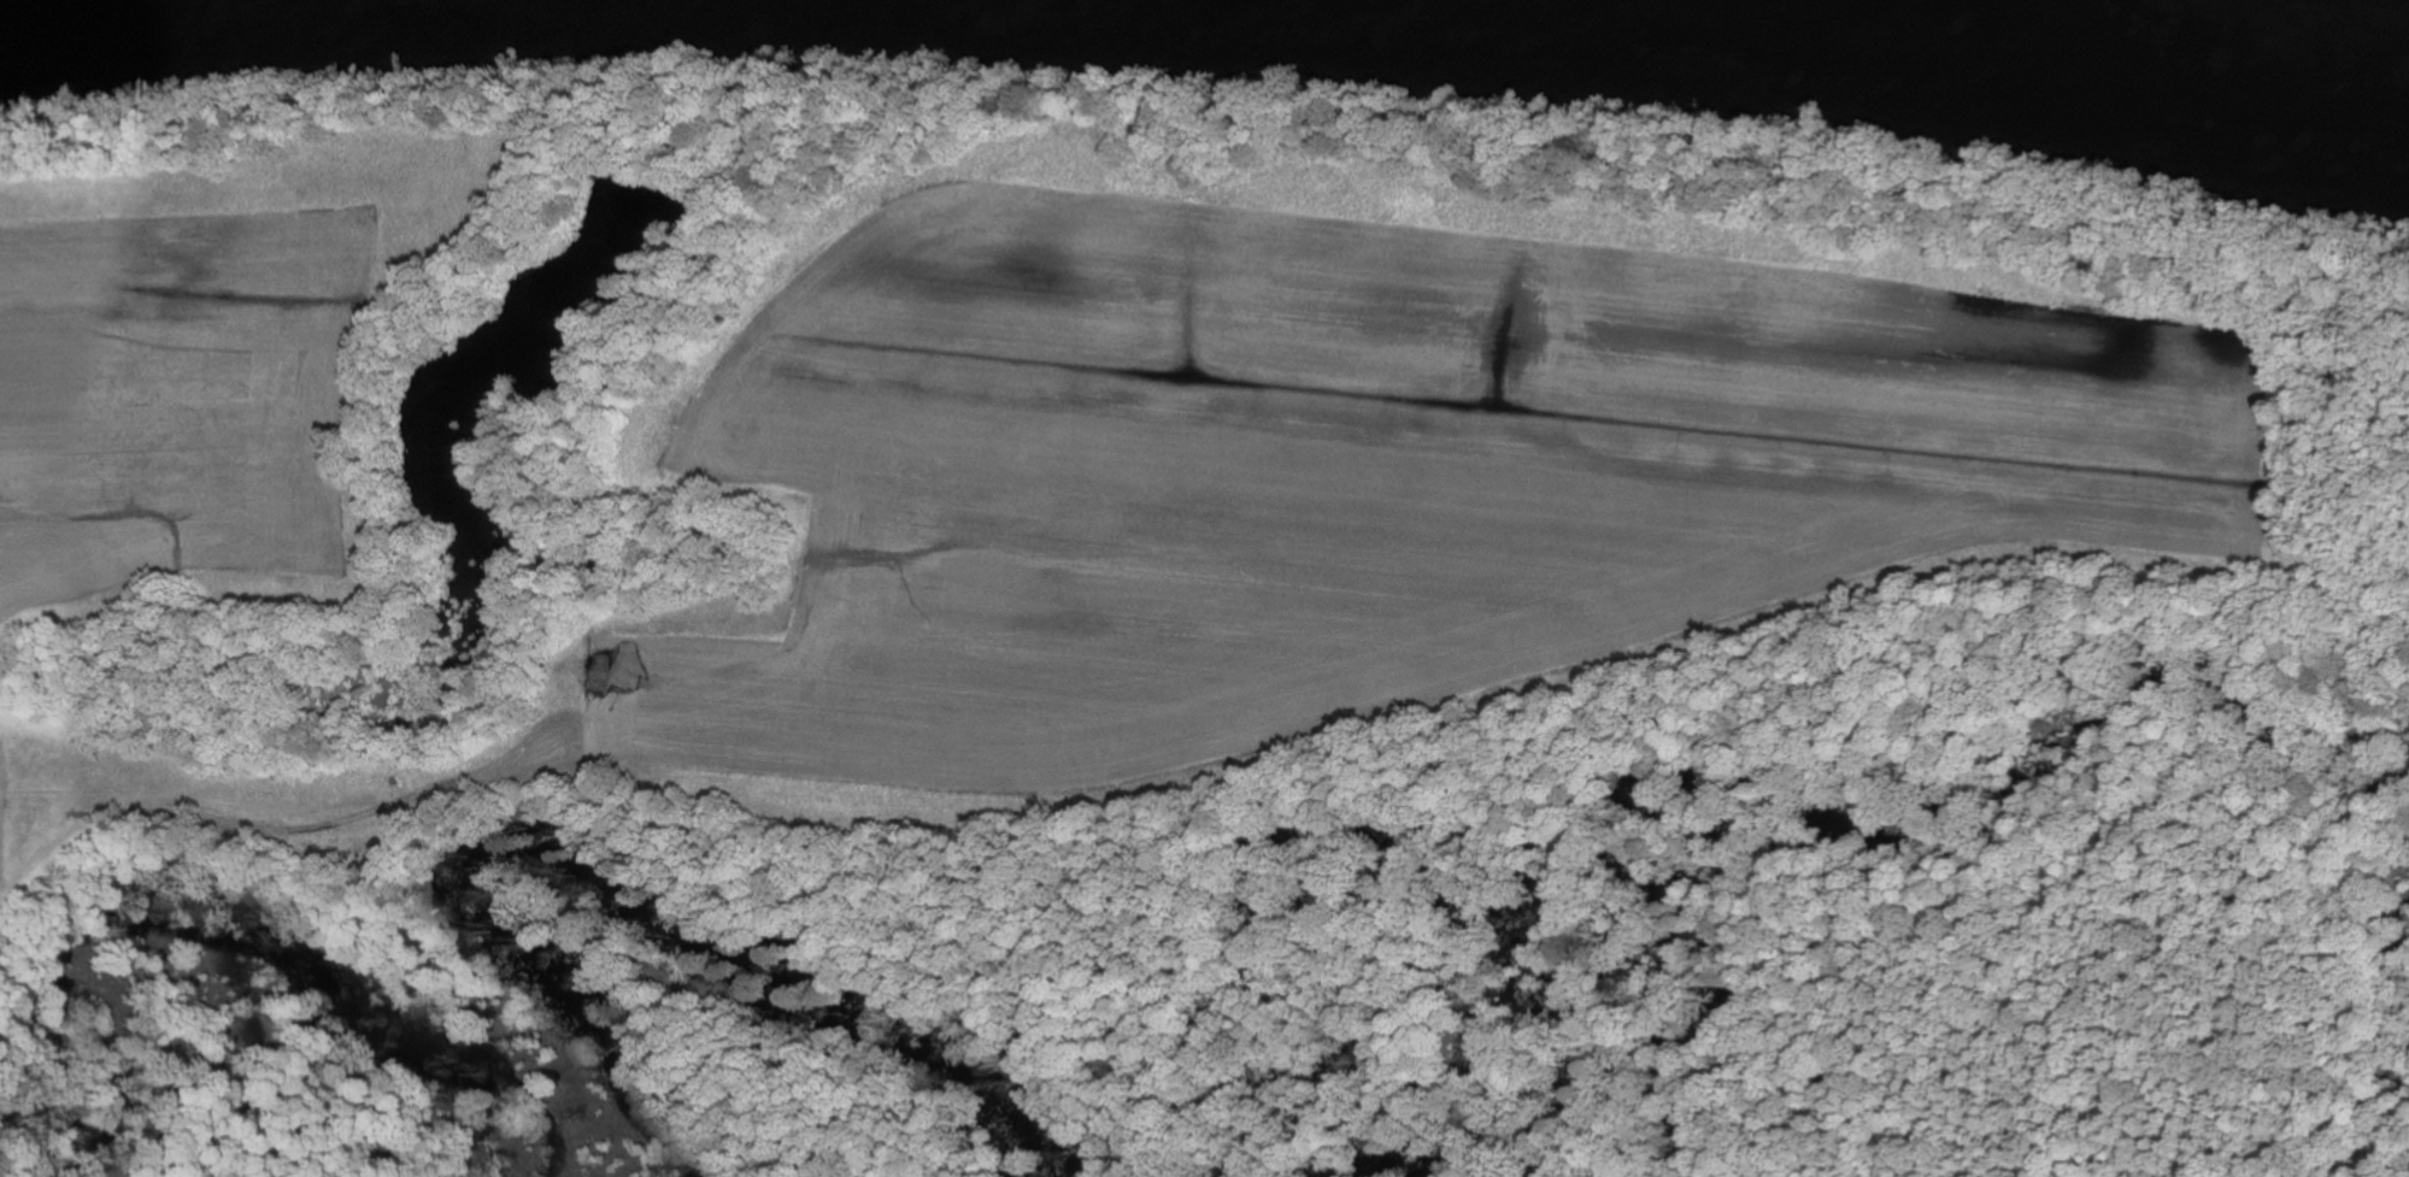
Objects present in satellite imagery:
river: (2128, 30)

